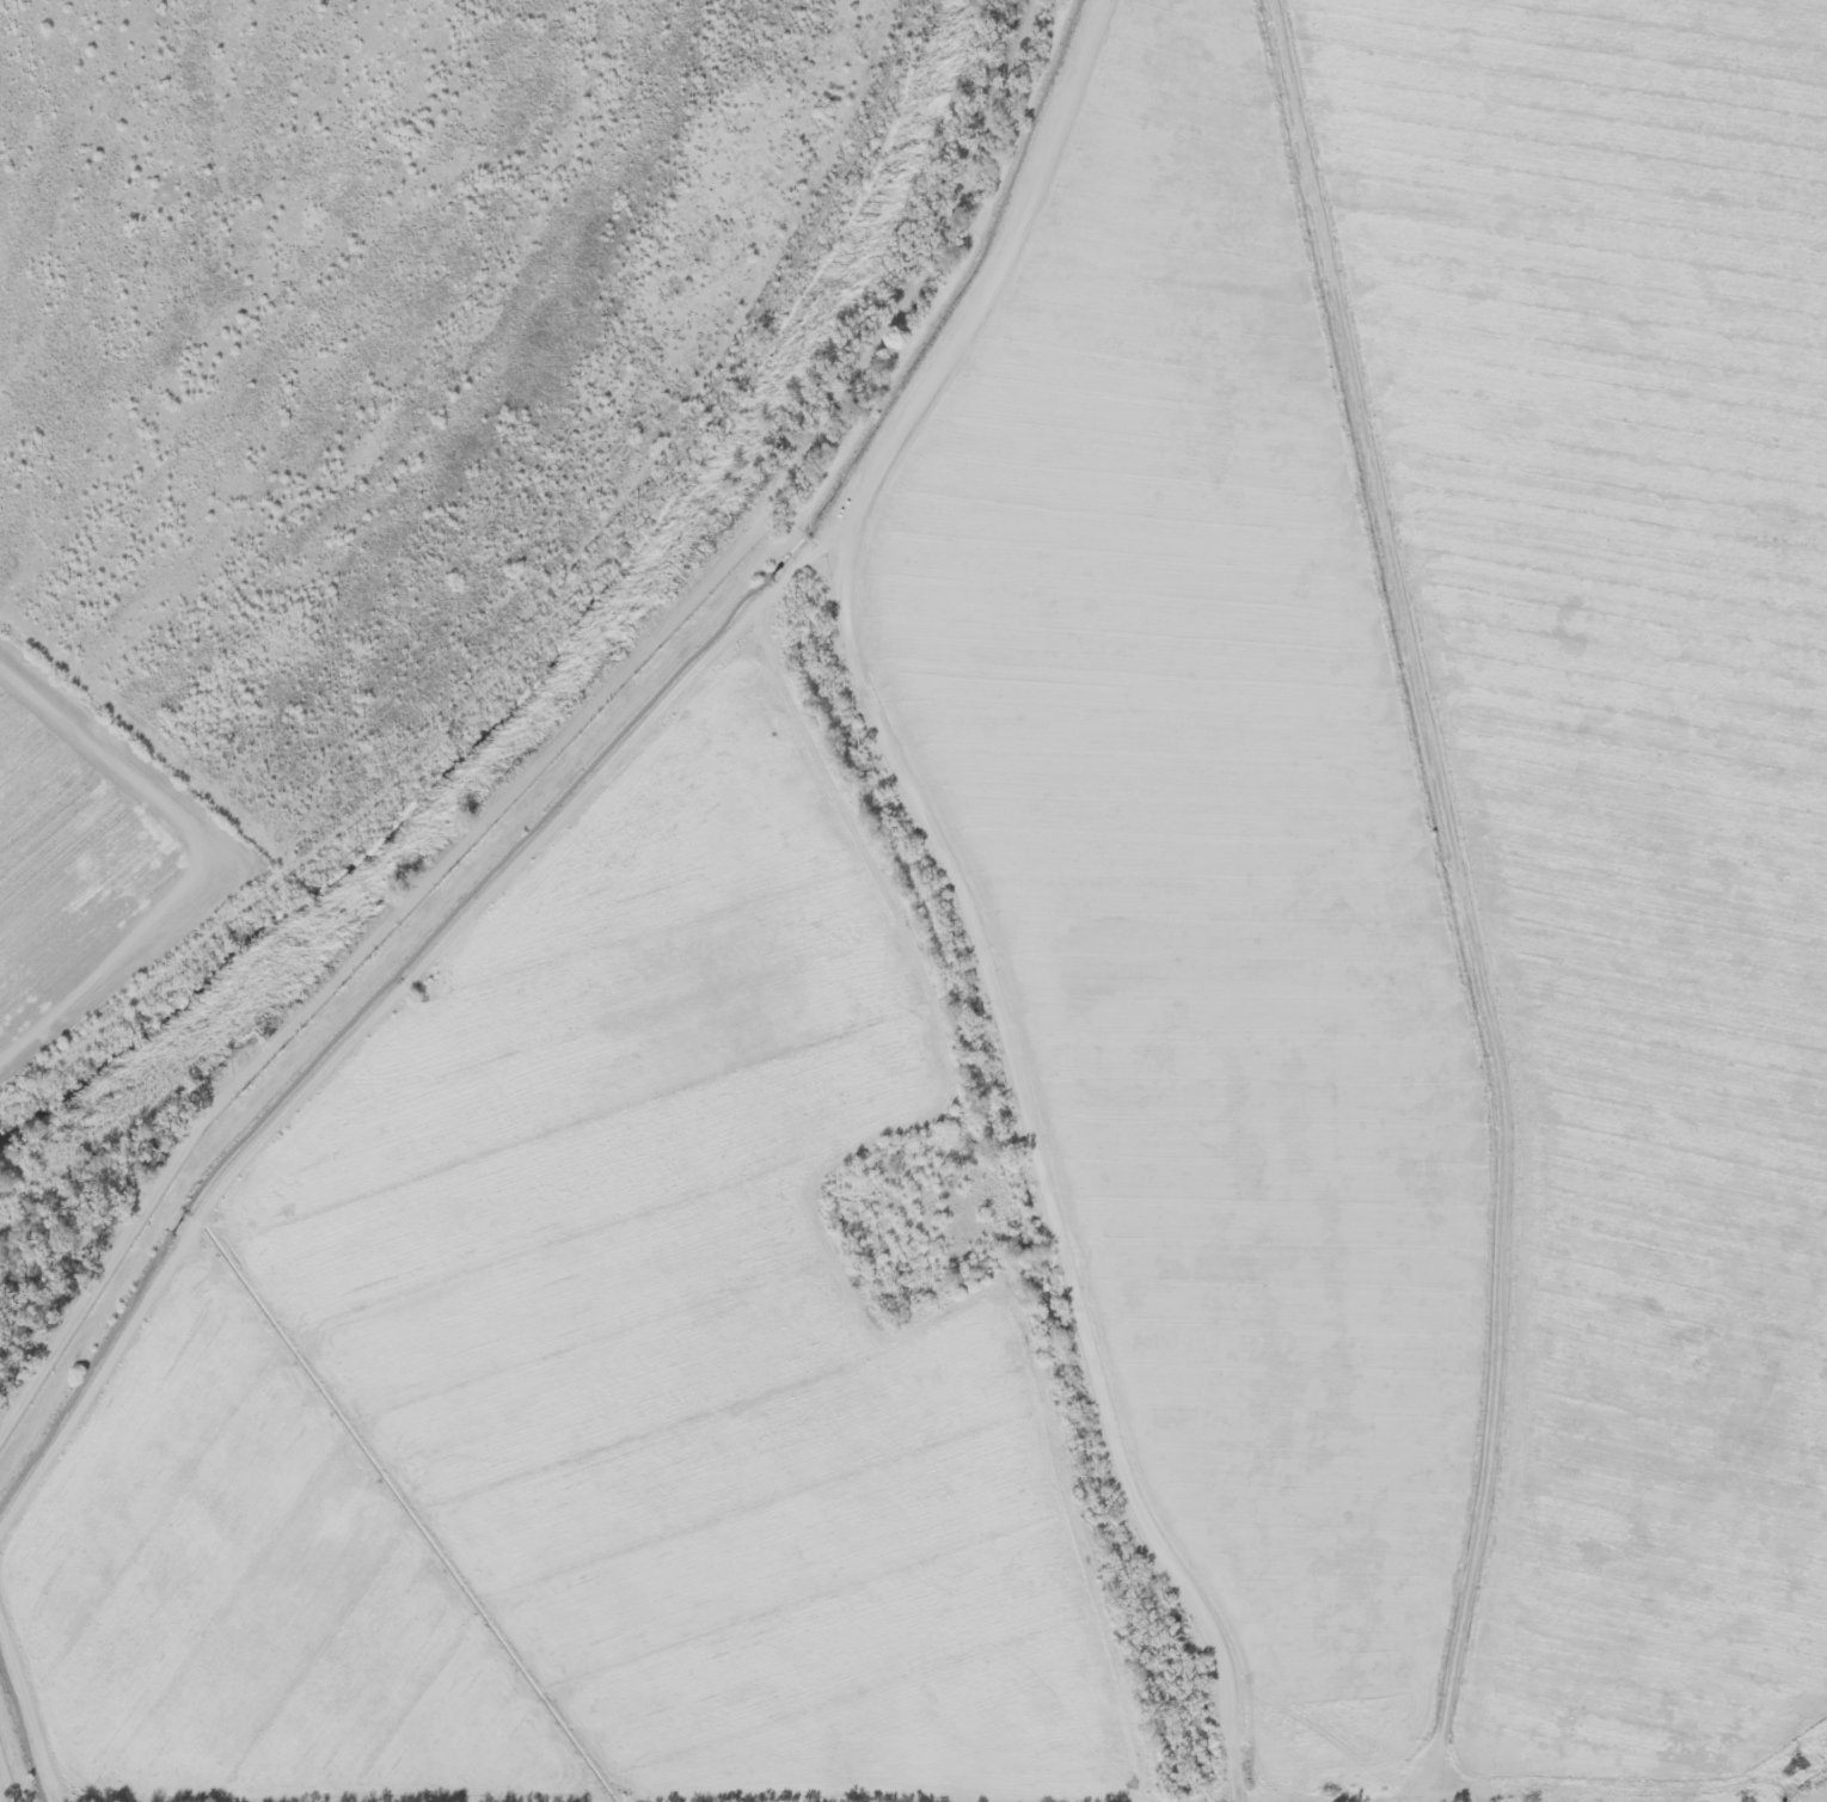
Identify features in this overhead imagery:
road: (552, 631)
road: (961, 885)

